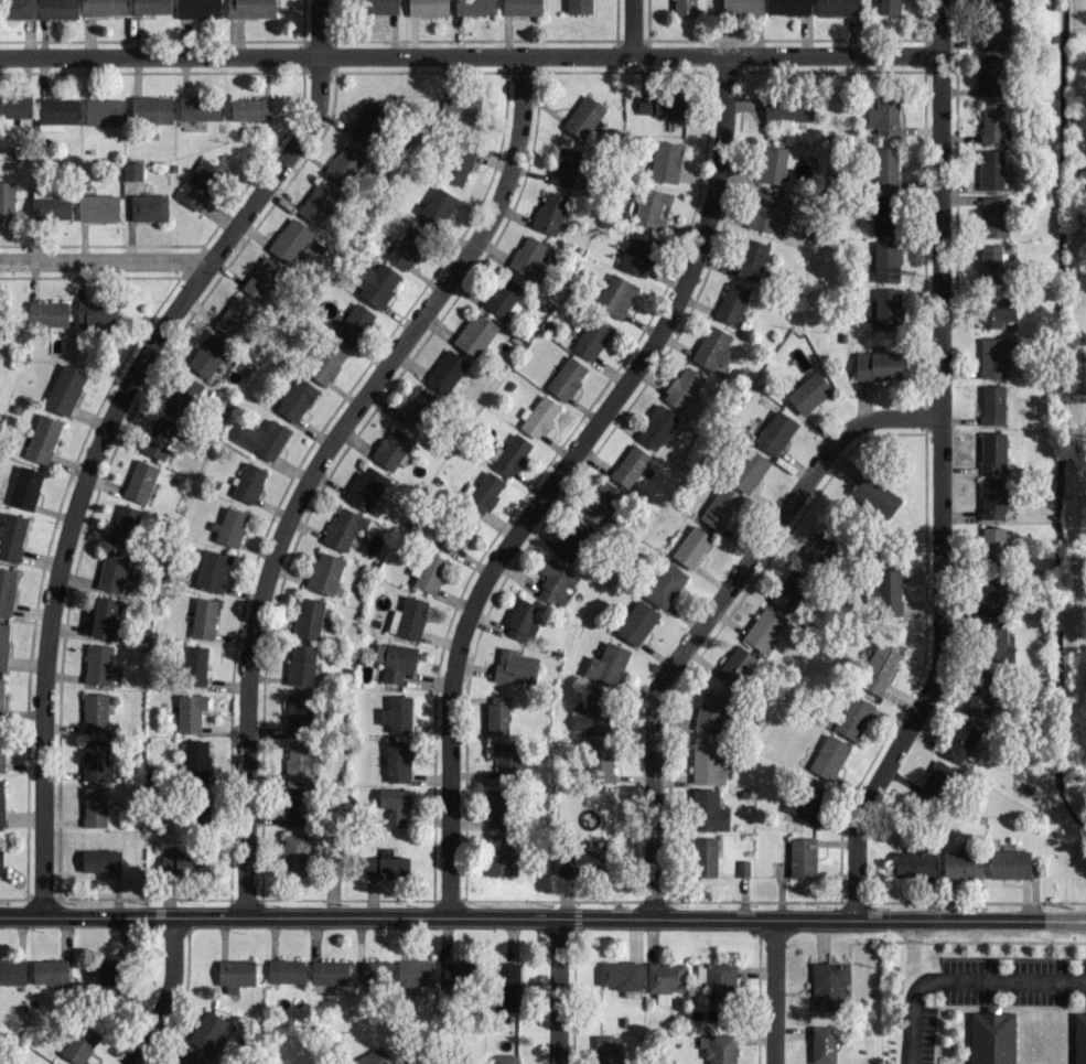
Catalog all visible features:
building: (999, 0)
building: (378, 6)
building: (579, 6)
building: (104, 7)
building: (151, 7)
building: (474, 7)
building: (522, 7)
building: (682, 7)
building: (788, 7)
building: (835, 7)
building: (888, 7)
building: (17, 8)
building: (57, 8)
building: (250, 8)
building: (428, 8)
building: (741, 8)
building: (198, 9)
road: (630, 28)
building: (997, 28)
road: (467, 56)
building: (988, 75)
building: (659, 104)
building: (17, 107)
building: (198, 108)
building: (249, 108)
building: (460, 108)
building: (788, 108)
building: (151, 109)
building: (104, 111)
building: (56, 112)
building: (884, 115)
building: (584, 117)
building: (991, 121)
building: (367, 122)
building: (665, 161)
building: (775, 162)
building: (344, 163)
building: (459, 163)
building: (564, 165)
building: (885, 166)
building: (990, 169)
building: (131, 170)
building: (200, 184)
building: (7, 201)
building: (318, 202)
building: (50, 206)
building: (652, 206)
building: (97, 207)
building: (148, 207)
building: (436, 208)
building: (768, 211)
building: (550, 213)
building: (882, 213)
building: (993, 216)
building: (289, 239)
building: (407, 247)
building: (637, 252)
building: (528, 258)
building: (751, 259)
road: (100, 260)
building: (886, 260)
building: (990, 264)
building: (262, 278)
building: (376, 283)
building: (615, 295)
building: (503, 297)
building: (732, 302)
building: (886, 308)
building: (996, 310)
building: (95, 312)
building: (47, 313)
building: (234, 315)
building: (353, 324)
building: (475, 333)
building: (592, 337)
building: (712, 347)
building: (206, 355)
building: (992, 356)
building: (326, 363)
building: (878, 365)
building: (445, 370)
building: (567, 377)
building: (682, 387)
building: (65, 388)
building: (808, 393)
building: (182, 396)
building: (295, 398)
building: (992, 404)
building: (419, 409)
building: (538, 417)
building: (656, 427)
road: (104, 430)
building: (775, 431)
building: (159, 437)
building: (42, 438)
building: (262, 438)
building: (391, 448)
building: (992, 451)
building: (509, 454)
road: (318, 463)
building: (628, 465)
road: (937, 467)
building: (748, 470)
road: (557, 476)
building: (139, 480)
building: (248, 482)
building: (24, 486)
building: (365, 487)
building: (484, 492)
building: (874, 495)
building: (991, 498)
building: (601, 502)
building: (720, 508)
building: (123, 525)
building: (228, 526)
building: (343, 528)
building: (11, 535)
building: (449, 538)
building: (572, 540)
building: (992, 545)
building: (691, 546)
building: (822, 547)
building: (111, 570)
building: (212, 570)
building: (428, 571)
building: (324, 572)
building: (556, 581)
building: (664, 584)
building: (7, 589)
building: (789, 590)
building: (886, 593)
building: (991, 594)
road: (708, 611)
building: (103, 616)
building: (308, 616)
building: (204, 617)
building: (408, 617)
building: (520, 620)
building: (636, 622)
building: (763, 628)
building: (994, 642)
building: (3, 645)
building: (394, 660)
building: (97, 663)
building: (300, 664)
building: (606, 664)
building: (194, 665)
building: (514, 666)
building: (735, 666)
building: (878, 668)
building: (982, 691)
building: (1, 697)
building: (190, 711)
building: (711, 711)
building: (97, 712)
building: (299, 712)
building: (396, 713)
building: (496, 713)
building: (592, 716)
building: (852, 717)
building: (959, 741)
building: (1, 746)
building: (504, 755)
building: (828, 756)
building: (95, 759)
building: (196, 759)
building: (298, 761)
building: (397, 761)
building: (600, 762)
building: (707, 762)
building: (936, 782)
building: (804, 803)
building: (1, 804)
building: (394, 804)
building: (94, 806)
building: (294, 807)
building: (496, 807)
building: (708, 810)
building: (294, 855)
building: (499, 856)
building: (703, 856)
building: (802, 857)
building: (0, 859)
building: (100, 860)
building: (580, 861)
building: (914, 862)
building: (961, 863)
building: (1009, 863)
building: (183, 864)
building: (386, 866)
road: (542, 914)
building: (12, 970)
building: (49, 970)
building: (286, 970)
building: (329, 971)
building: (375, 971)
building: (416, 972)
building: (454, 972)
building: (235, 974)
building: (105, 975)
building: (621, 976)
building: (664, 979)
road: (960, 979)
building: (717, 981)
building: (505, 985)
building: (828, 985)
road: (558, 989)
road: (773, 990)
road: (164, 993)
building: (208, 1032)
building: (991, 1036)
building: (1079, 1039)
building: (79, 1043)
building: (822, 1044)
building: (718, 1047)
building: (606, 1050)
building: (187, 1056)
building: (372, 1057)
building: (505, 1058)
building: (408, 1062)

